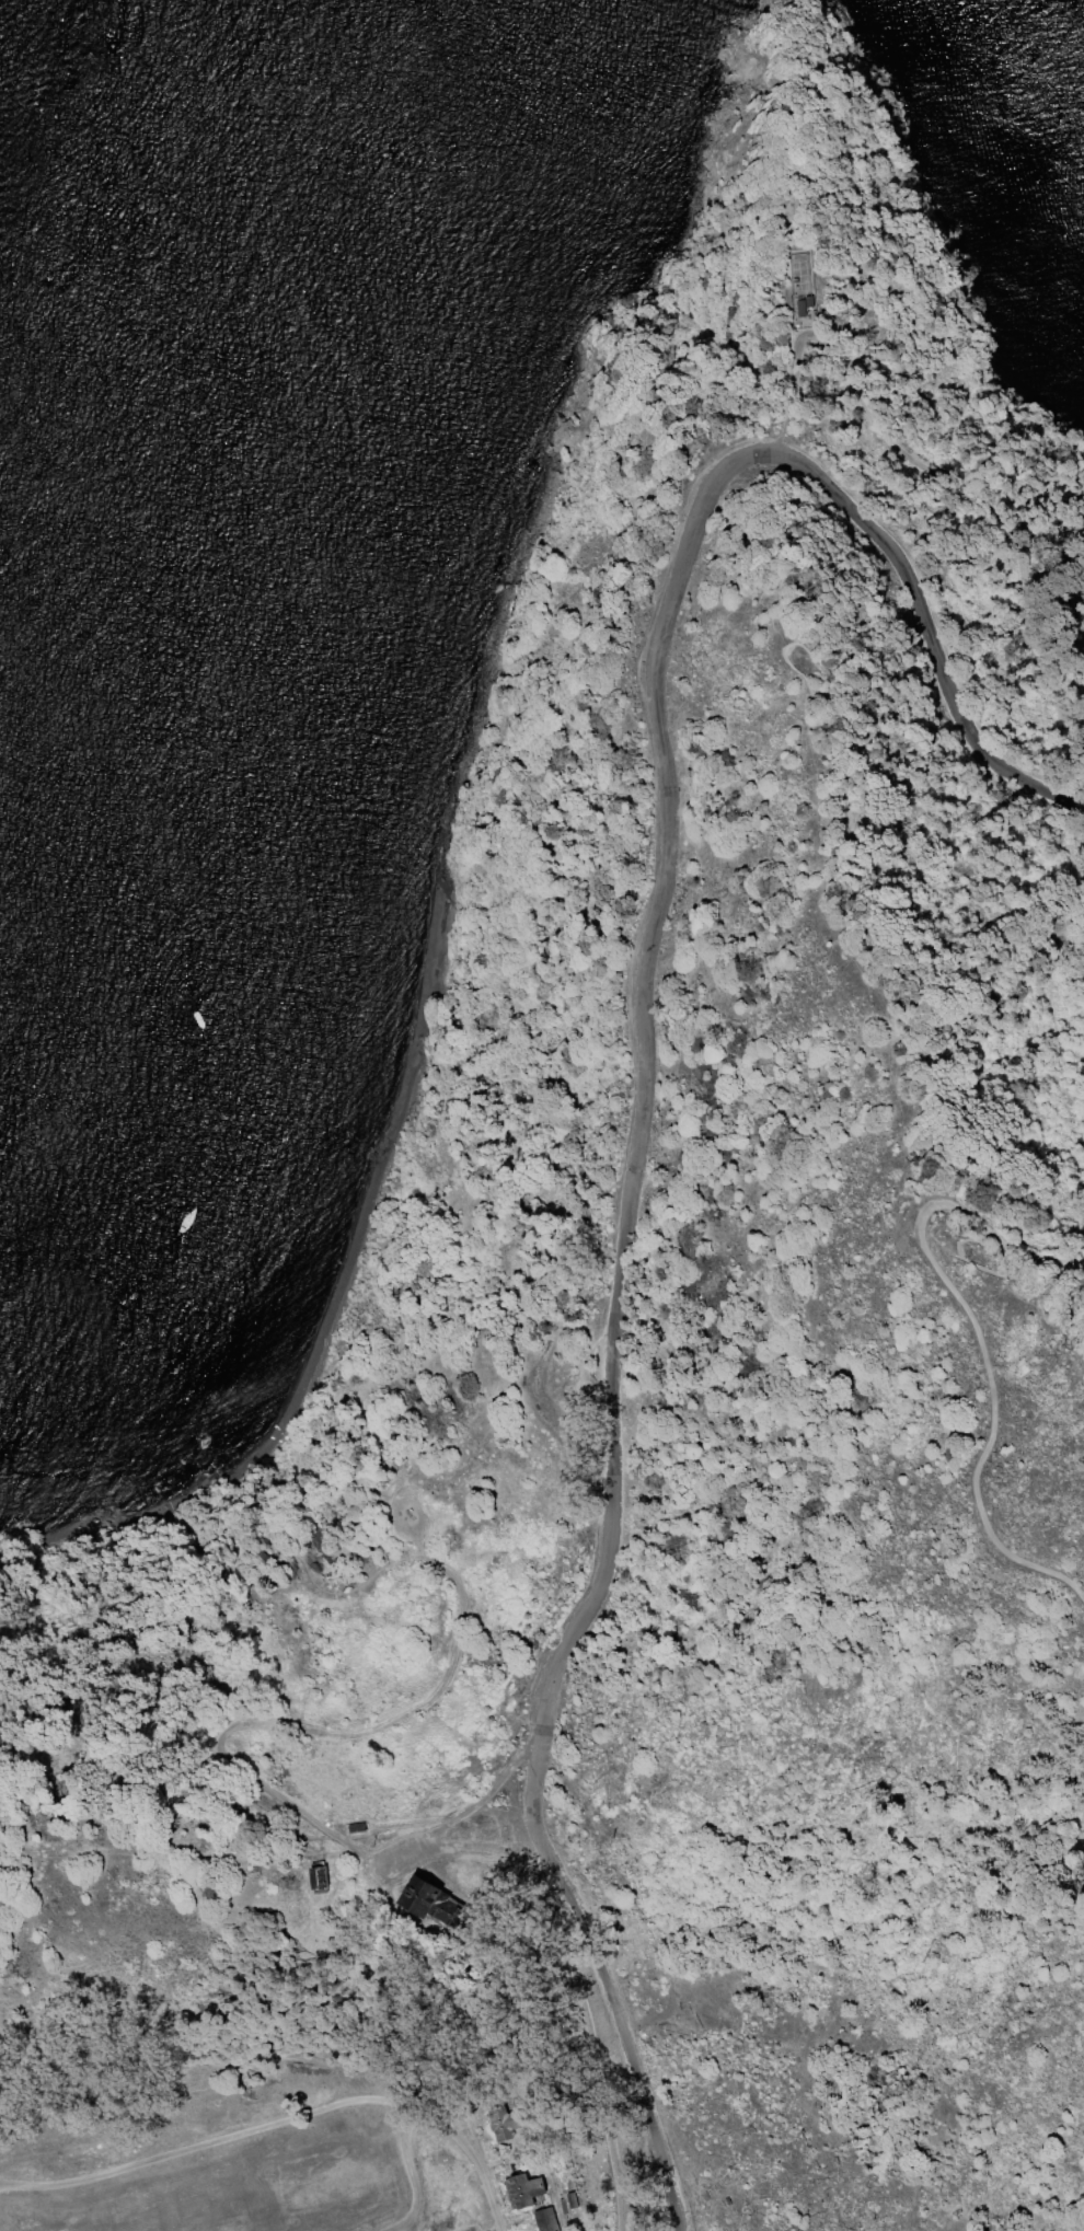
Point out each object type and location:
building: (816, 304)
road: (926, 462)
road: (1058, 626)
road: (833, 687)
road: (660, 1100)
road: (977, 1175)
road: (1010, 1267)
road: (1011, 1339)
park: (648, 1371)
road: (275, 1534)
road: (347, 1733)
road: (514, 1781)
road: (411, 1827)
building: (377, 1830)
road: (177, 1853)
building: (339, 1879)
building: (460, 1905)
road: (507, 1980)
road: (243, 2061)
road: (612, 2066)
road: (278, 2120)
building: (515, 2123)
road: (485, 2159)
building: (537, 2188)
building: (584, 2199)
building: (556, 2219)

